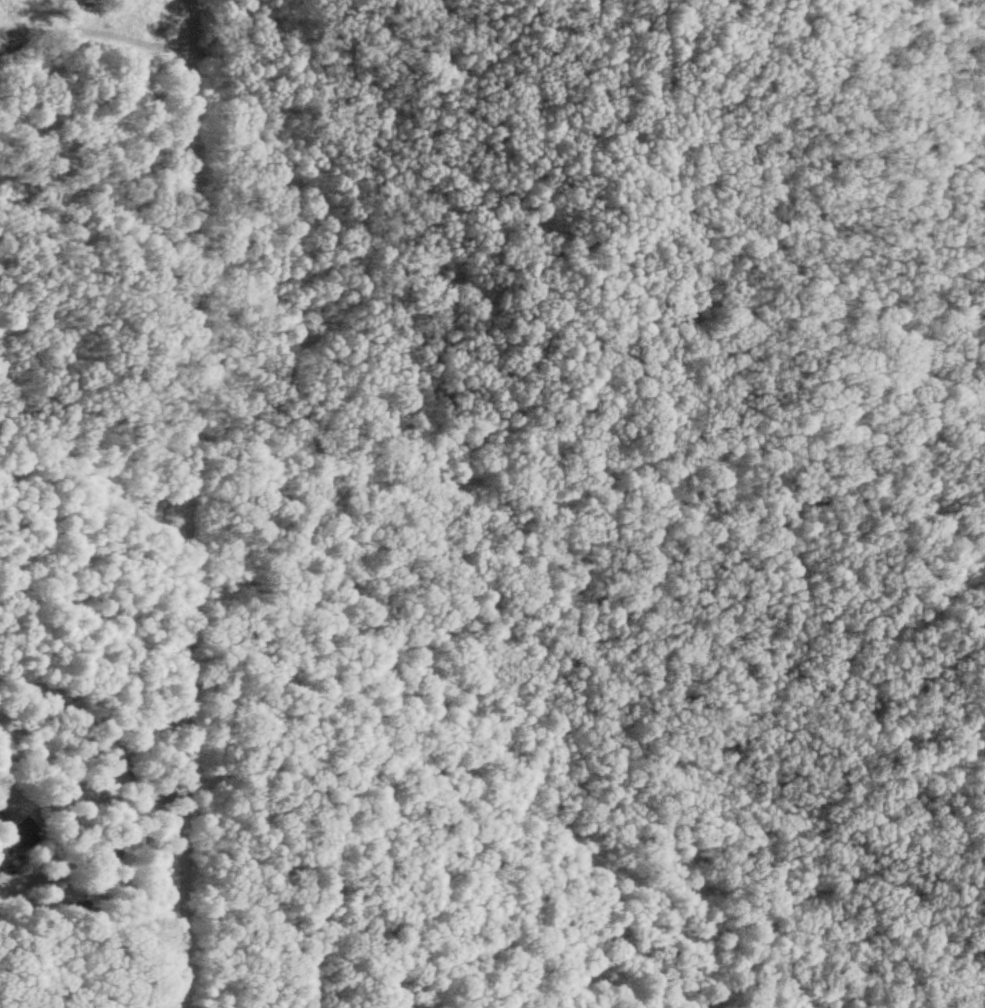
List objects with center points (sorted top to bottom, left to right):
road: (191, 504)

